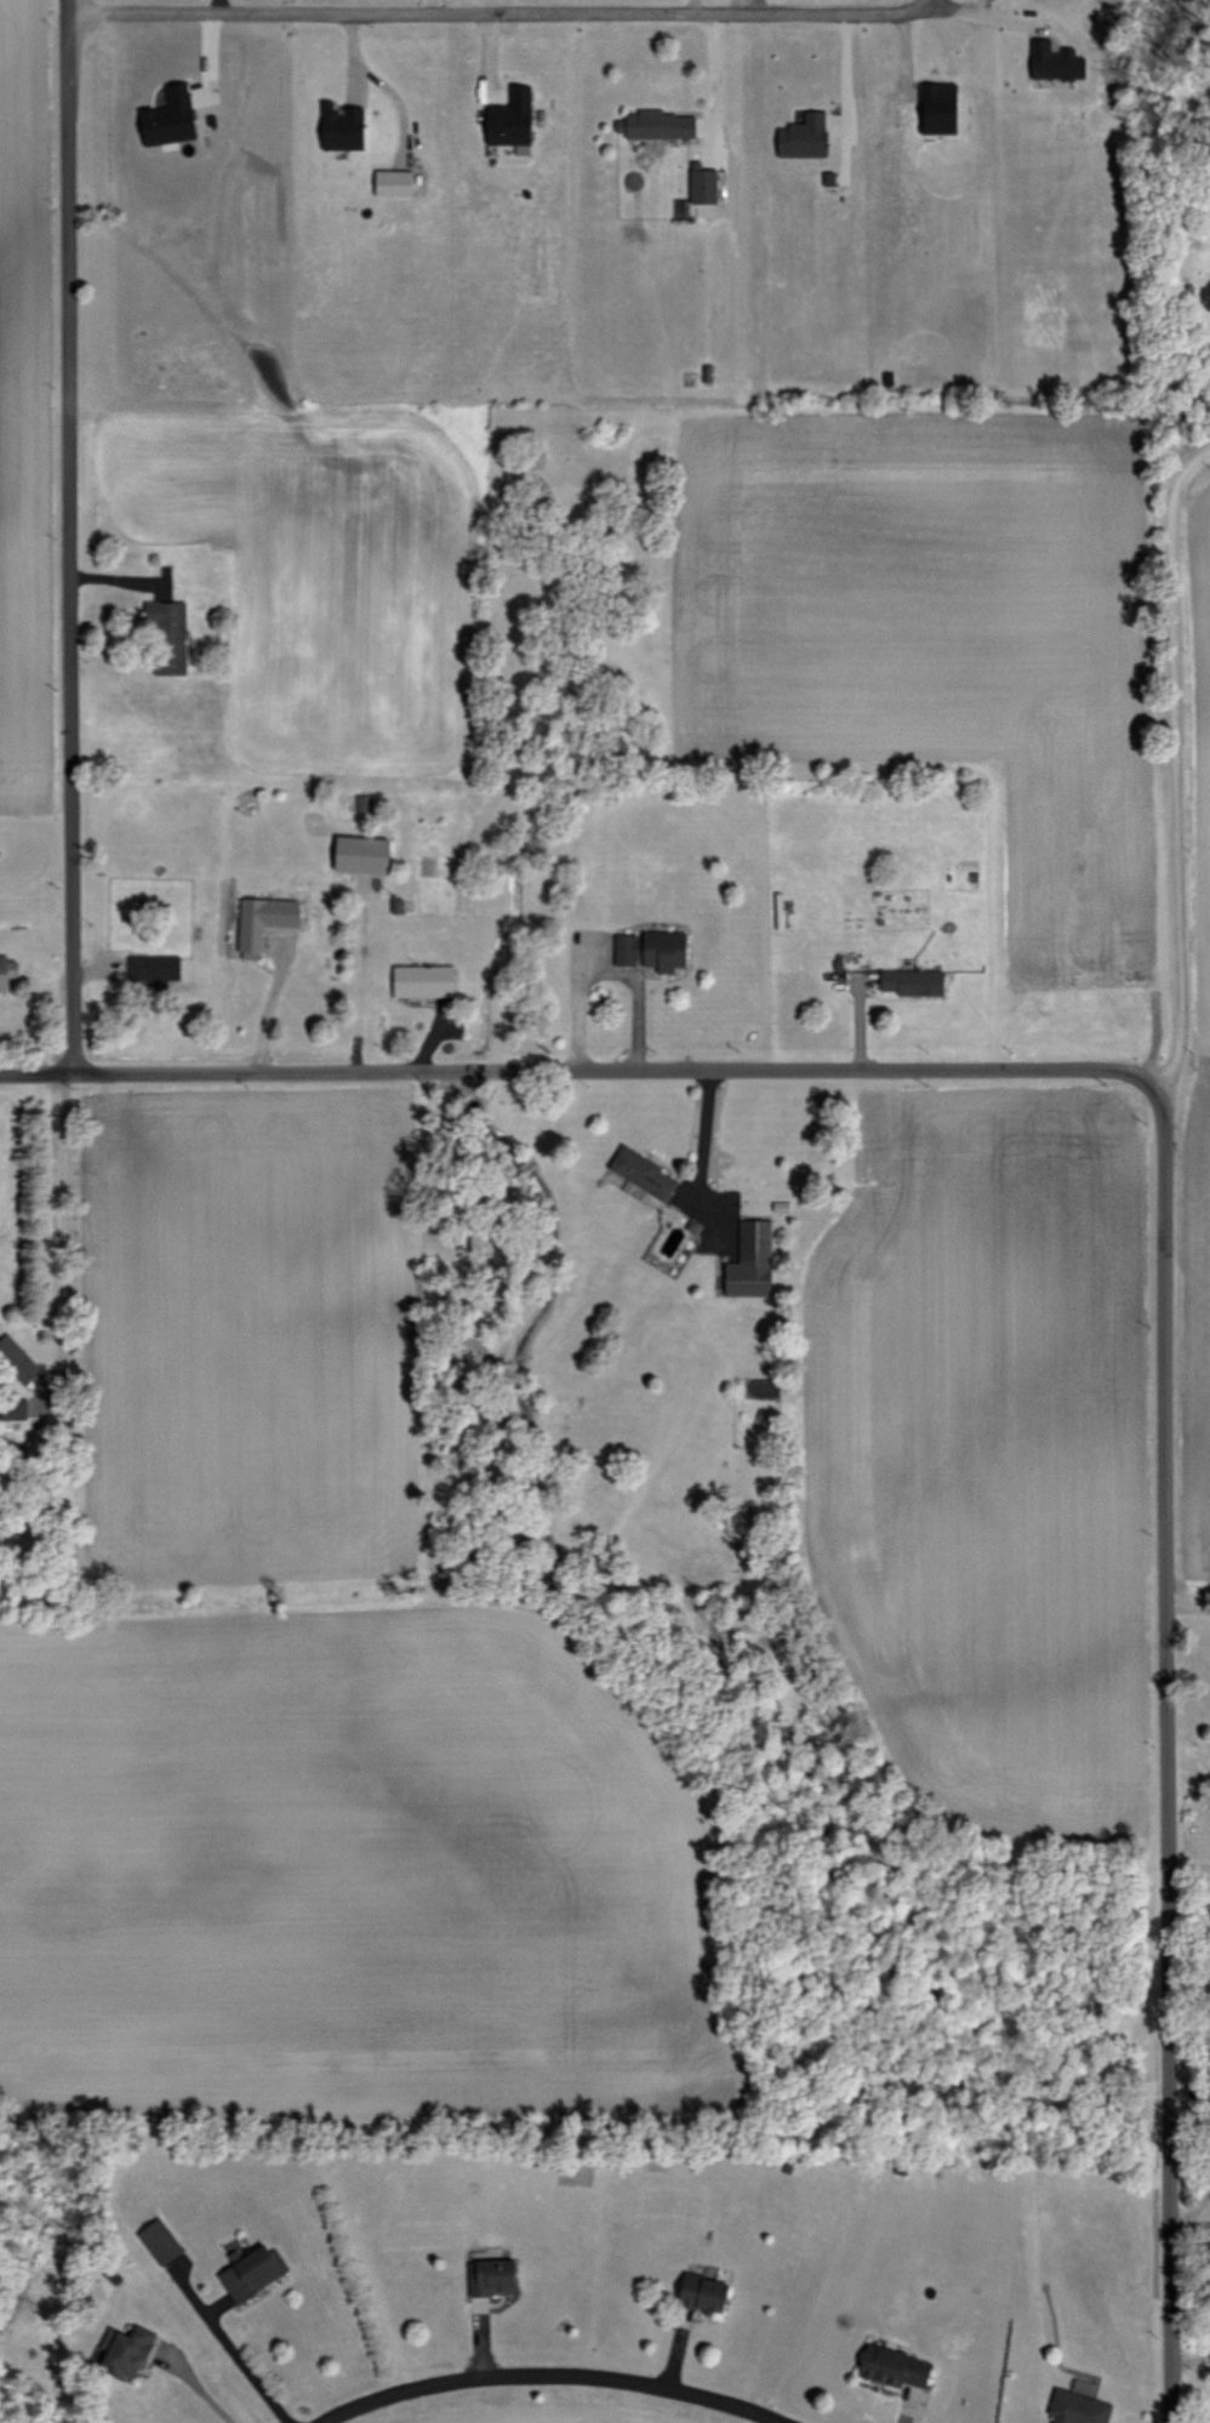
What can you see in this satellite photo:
road: (934, 6)
road: (531, 13)
building: (1055, 61)
building: (938, 108)
building: (170, 116)
building: (512, 118)
building: (658, 124)
building: (342, 126)
building: (803, 136)
building: (394, 182)
building: (703, 183)
road: (605, 477)
road: (72, 534)
building: (169, 634)
road: (347, 683)
road: (1176, 764)
building: (364, 803)
building: (363, 854)
building: (263, 922)
building: (652, 950)
building: (154, 969)
building: (7, 971)
building: (424, 980)
building: (912, 981)
road: (577, 1068)
building: (644, 1173)
road: (64, 1233)
building: (752, 1260)
building: (18, 1359)
building: (16, 1408)
road: (1162, 1751)
road: (1187, 1865)
building: (161, 2241)
building: (252, 2271)
building: (492, 2276)
building: (704, 2293)
building: (125, 2349)
road: (1189, 2361)
building: (895, 2366)
road: (249, 2372)
road: (552, 2373)
road: (206, 2393)
building: (1078, 2407)

